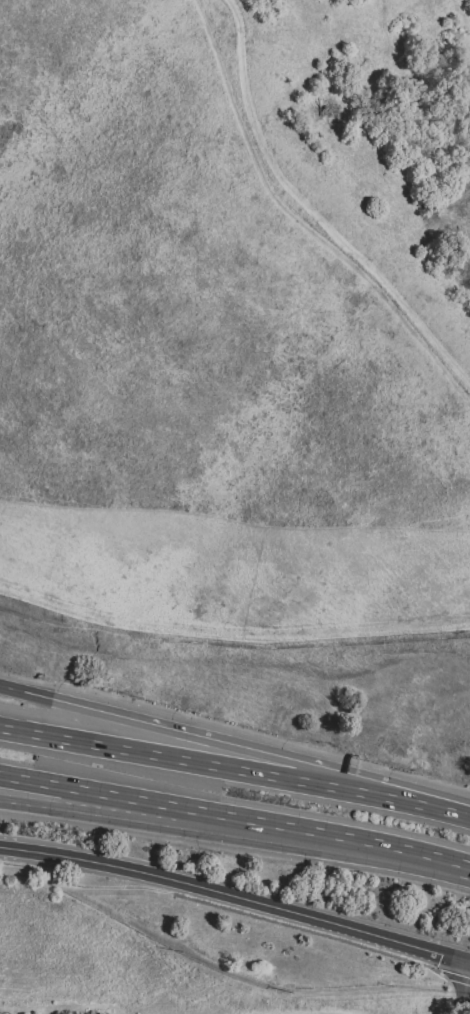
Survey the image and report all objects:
road: (299, 224)
road: (12, 689)
road: (207, 735)
road: (192, 763)
road: (74, 789)
road: (427, 802)
road: (74, 807)
road: (163, 809)
road: (324, 835)
road: (236, 897)
road: (236, 910)
road: (468, 998)
road: (464, 1010)

